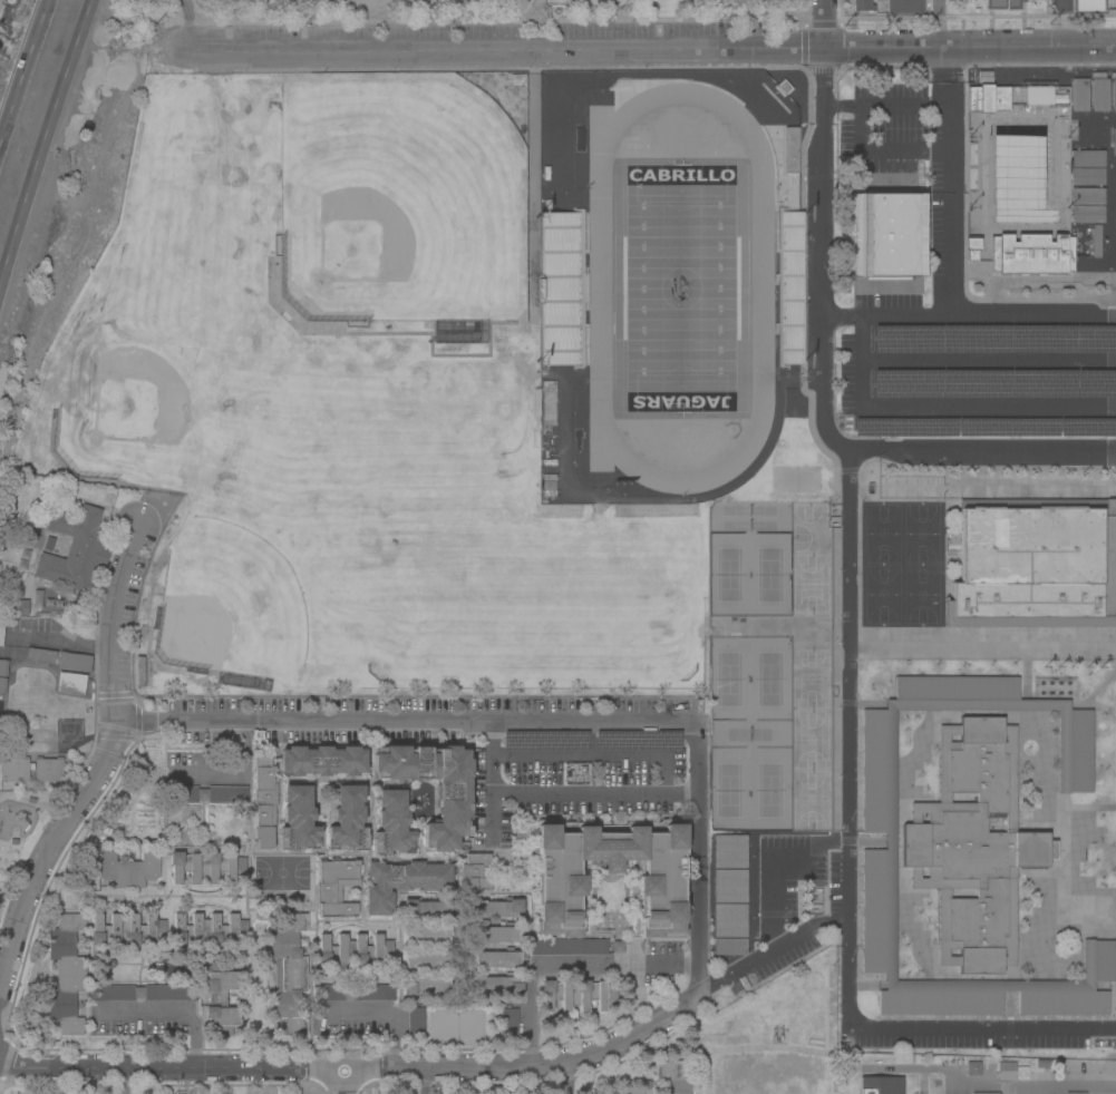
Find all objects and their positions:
park: (591, 4)
building: (1002, 4)
building: (1086, 4)
building: (862, 6)
building: (905, 7)
park: (485, 8)
road: (237, 11)
road: (361, 21)
road: (937, 22)
road: (824, 23)
road: (188, 25)
road: (534, 25)
road: (646, 48)
road: (21, 70)
building: (1077, 94)
building: (1113, 94)
building: (1036, 95)
building: (1097, 95)
building: (986, 98)
road: (883, 105)
parking lot: (880, 120)
road: (42, 140)
building: (790, 150)
road: (879, 153)
building: (1085, 158)
building: (1084, 175)
road: (947, 182)
building: (1085, 196)
park: (397, 199)
building: (1085, 213)
building: (883, 235)
building: (1093, 241)
building: (1028, 255)
track: (596, 282)
park: (678, 286)
building: (788, 287)
building: (557, 290)
road: (842, 319)
building: (994, 340)
road: (988, 361)
road: (861, 362)
parking lot: (974, 365)
building: (906, 383)
building: (976, 383)
building: (1096, 383)
building: (1042, 384)
road: (824, 390)
park: (119, 412)
building: (957, 428)
building: (1087, 428)
park: (368, 446)
building: (76, 548)
building: (1035, 568)
road: (848, 577)
park: (226, 600)
building: (19, 606)
road: (114, 622)
building: (1, 633)
building: (40, 653)
building: (74, 661)
park: (749, 666)
building: (2, 667)
building: (69, 683)
building: (2, 685)
road: (406, 721)
parking lot: (322, 722)
road: (596, 756)
parking lot: (582, 759)
building: (321, 761)
road: (232, 769)
building: (13, 770)
building: (48, 770)
road: (492, 779)
building: (213, 793)
road: (632, 797)
building: (453, 799)
building: (264, 803)
road: (846, 807)
building: (299, 815)
building: (347, 817)
building: (392, 819)
building: (993, 824)
building: (608, 828)
building: (890, 841)
building: (972, 846)
road: (51, 850)
building: (729, 851)
building: (205, 867)
building: (128, 869)
building: (474, 871)
building: (404, 882)
building: (560, 886)
building: (729, 886)
building: (337, 888)
road: (697, 895)
building: (497, 908)
building: (425, 909)
building: (729, 920)
building: (208, 929)
building: (126, 930)
building: (426, 934)
building: (496, 934)
building: (729, 946)
building: (567, 947)
building: (353, 950)
road: (776, 950)
building: (426, 959)
building: (496, 959)
road: (564, 965)
building: (66, 974)
building: (288, 974)
building: (425, 985)
building: (497, 985)
building: (145, 993)
building: (356, 993)
building: (578, 995)
building: (221, 997)
road: (174, 1010)
road: (382, 1014)
building: (415, 1020)
building: (508, 1022)
road: (921, 1030)
parking lot: (978, 1041)
road: (536, 1064)
building: (971, 1067)
road: (172, 1071)
building: (1006, 1071)
building: (673, 1076)
road: (570, 1078)
road: (119, 1082)
road: (421, 1082)
road: (1032, 1082)
road: (343, 1083)
building: (881, 1085)
building: (605, 1092)
building: (986, 1093)
building: (1075, 1093)

